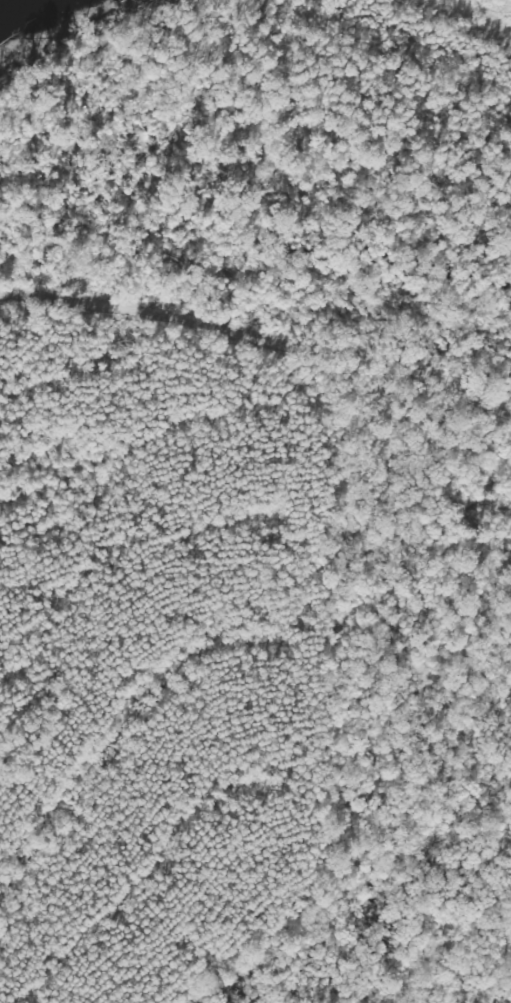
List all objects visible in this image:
road: (258, 347)

